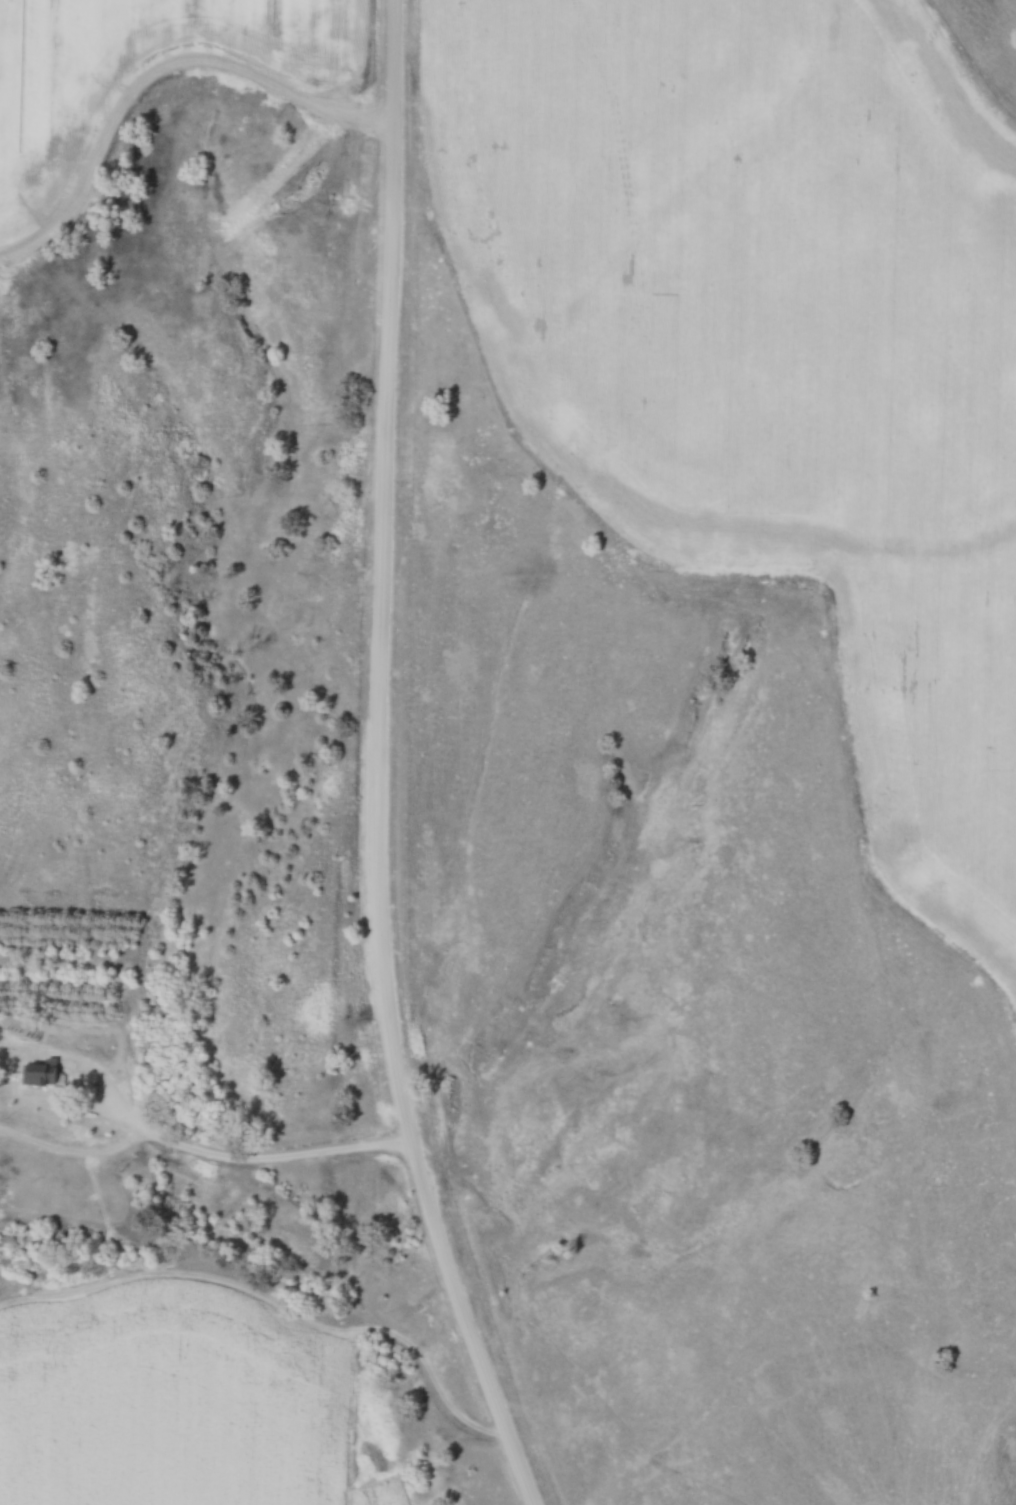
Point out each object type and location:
road: (376, 763)
building: (41, 1073)
road: (237, 1159)

